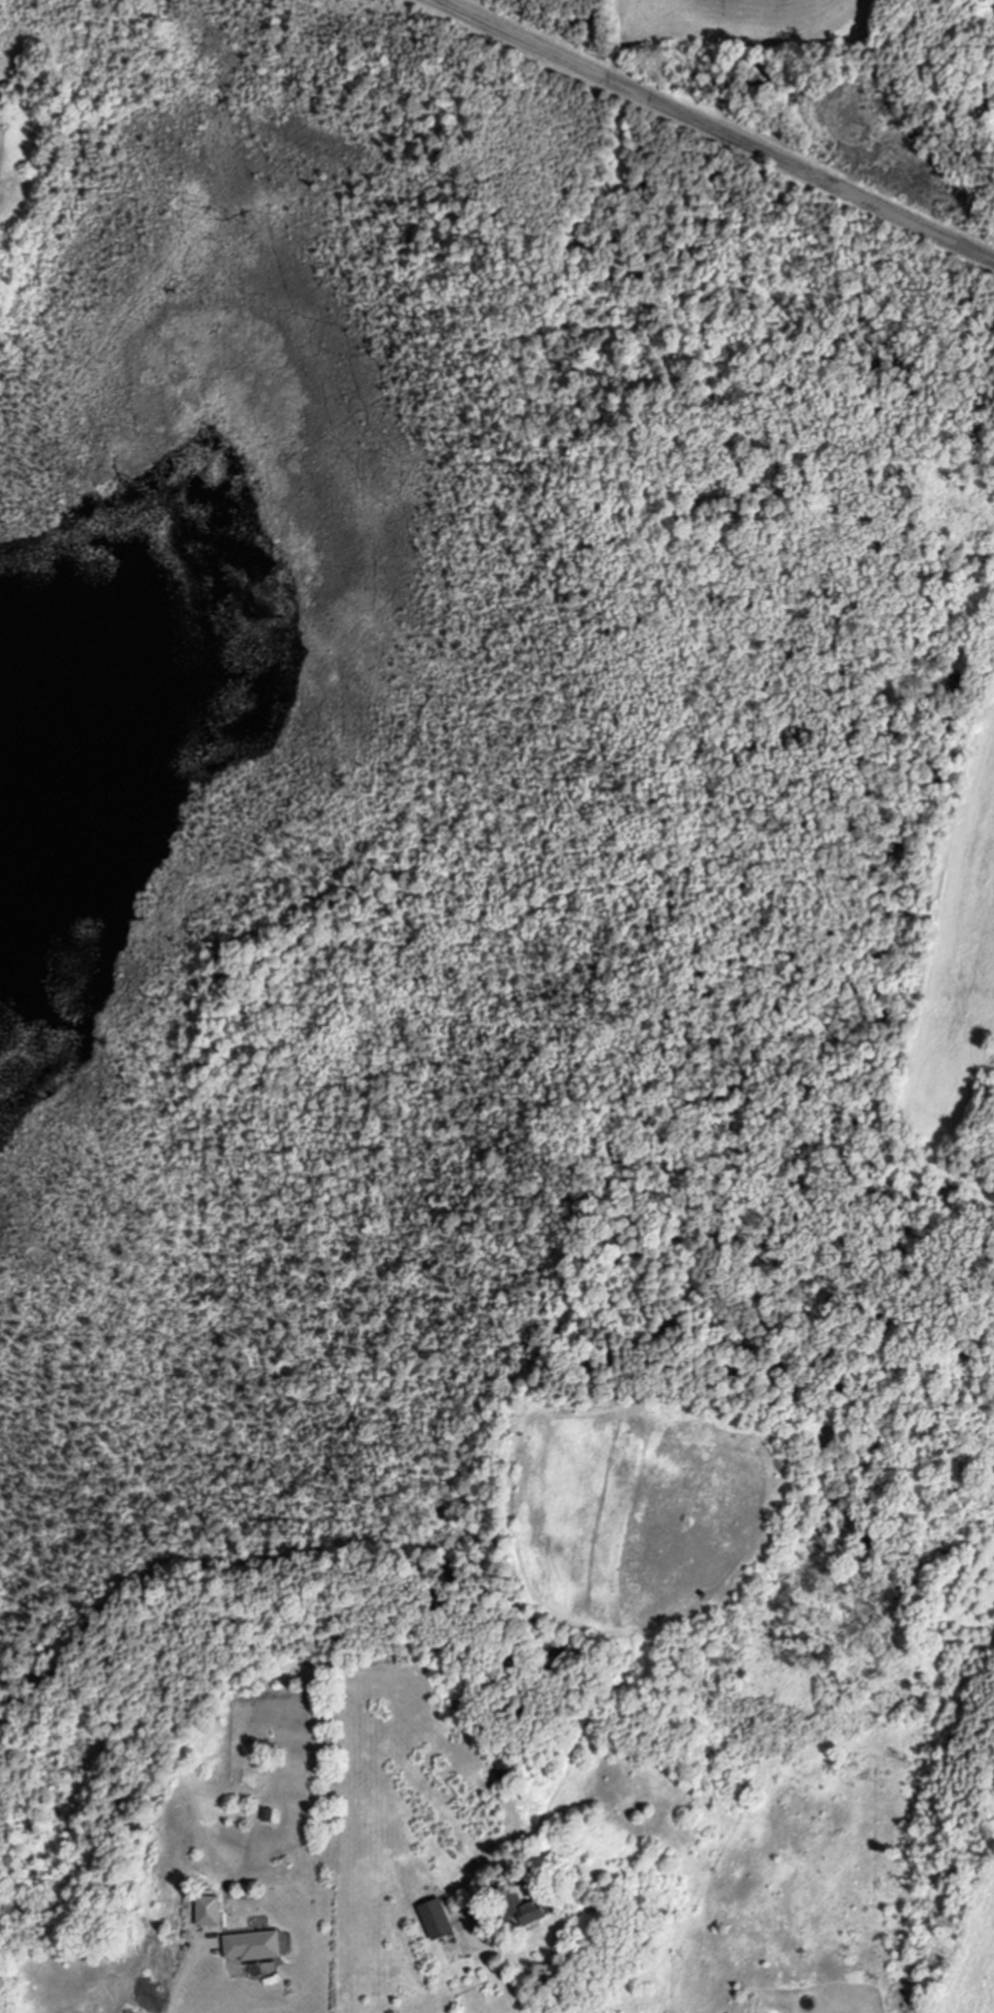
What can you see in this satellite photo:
road: (719, 128)
building: (522, 1908)
building: (205, 1910)
building: (432, 1919)
building: (249, 1945)
road: (521, 1958)
road: (181, 1982)

